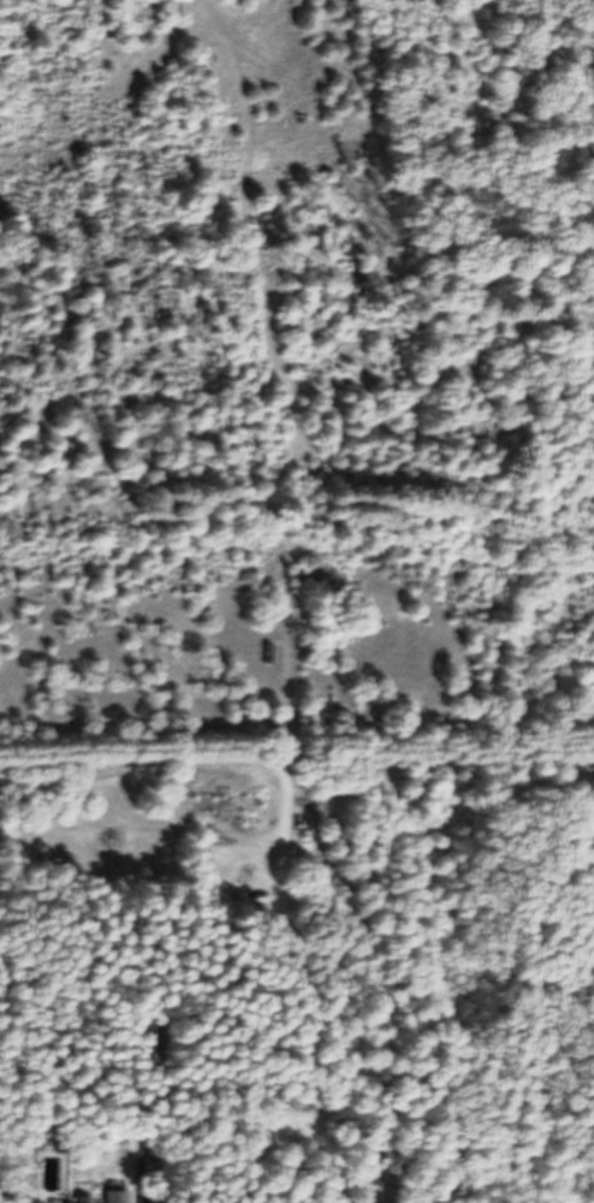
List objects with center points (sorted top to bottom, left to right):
road: (286, 1014)

